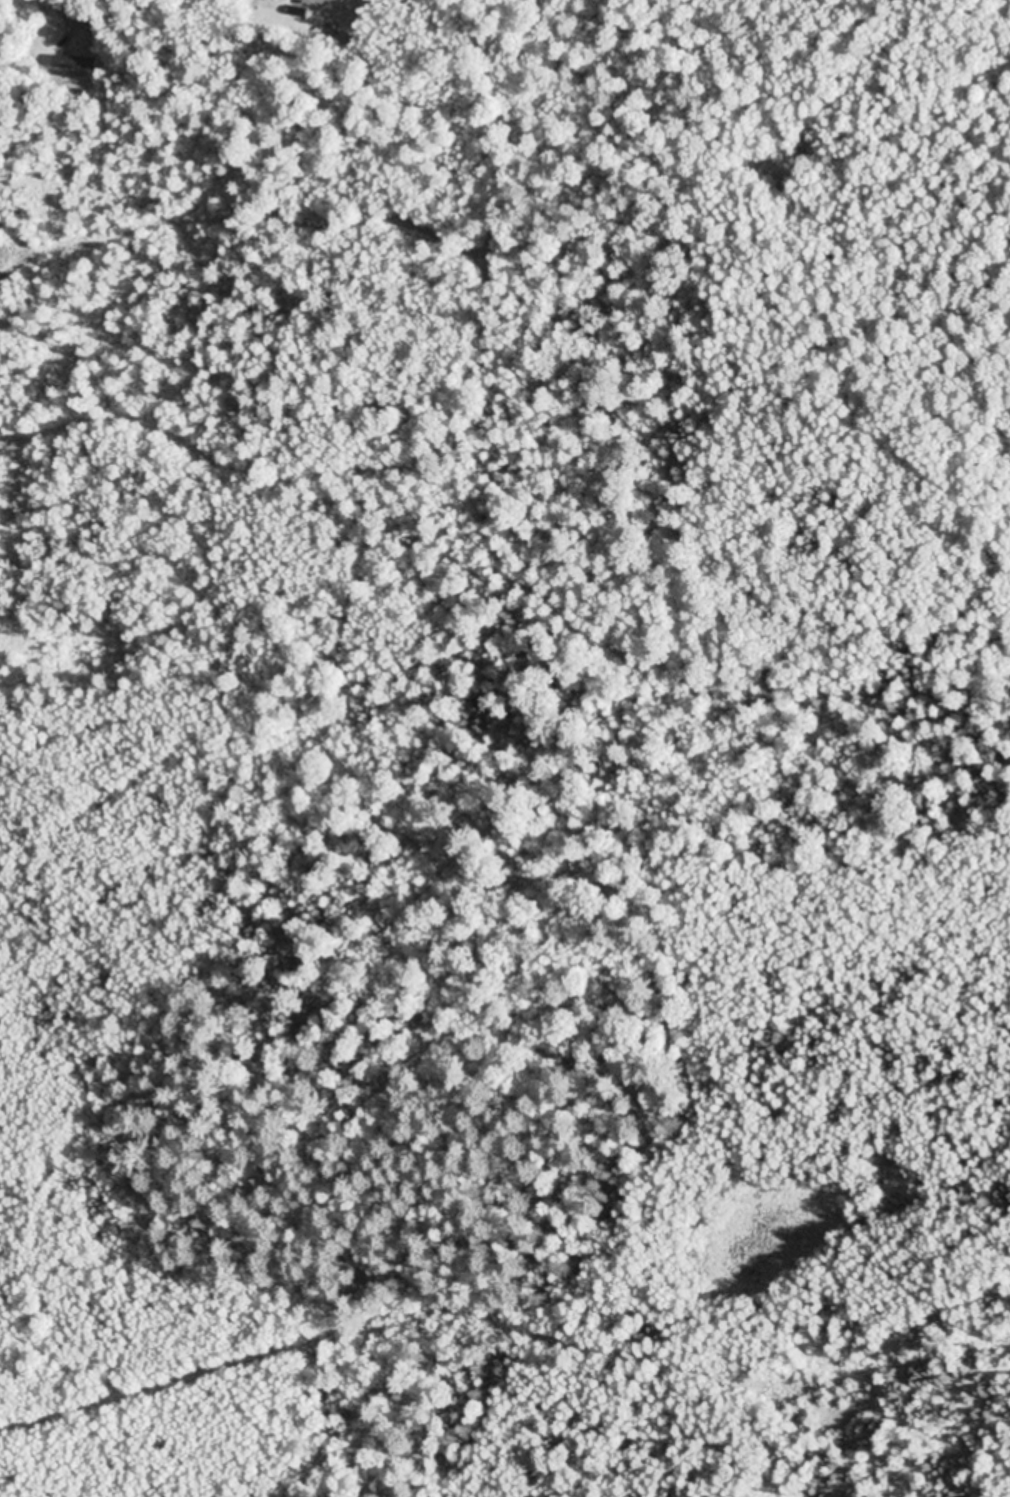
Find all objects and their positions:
building: (74, 62)
road: (430, 1317)

